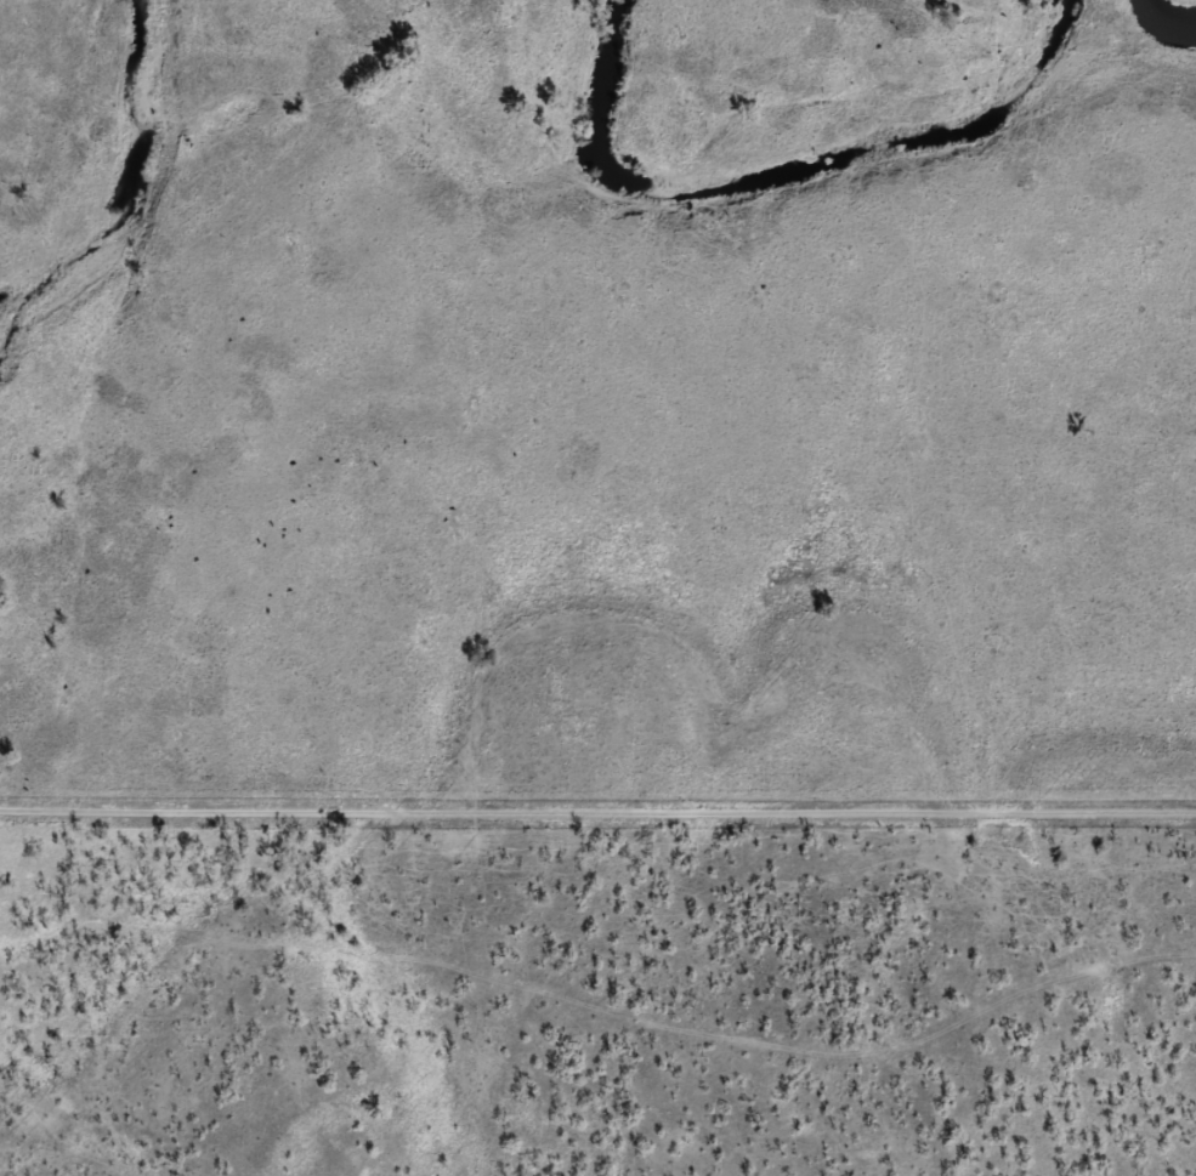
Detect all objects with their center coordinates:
road: (597, 811)

